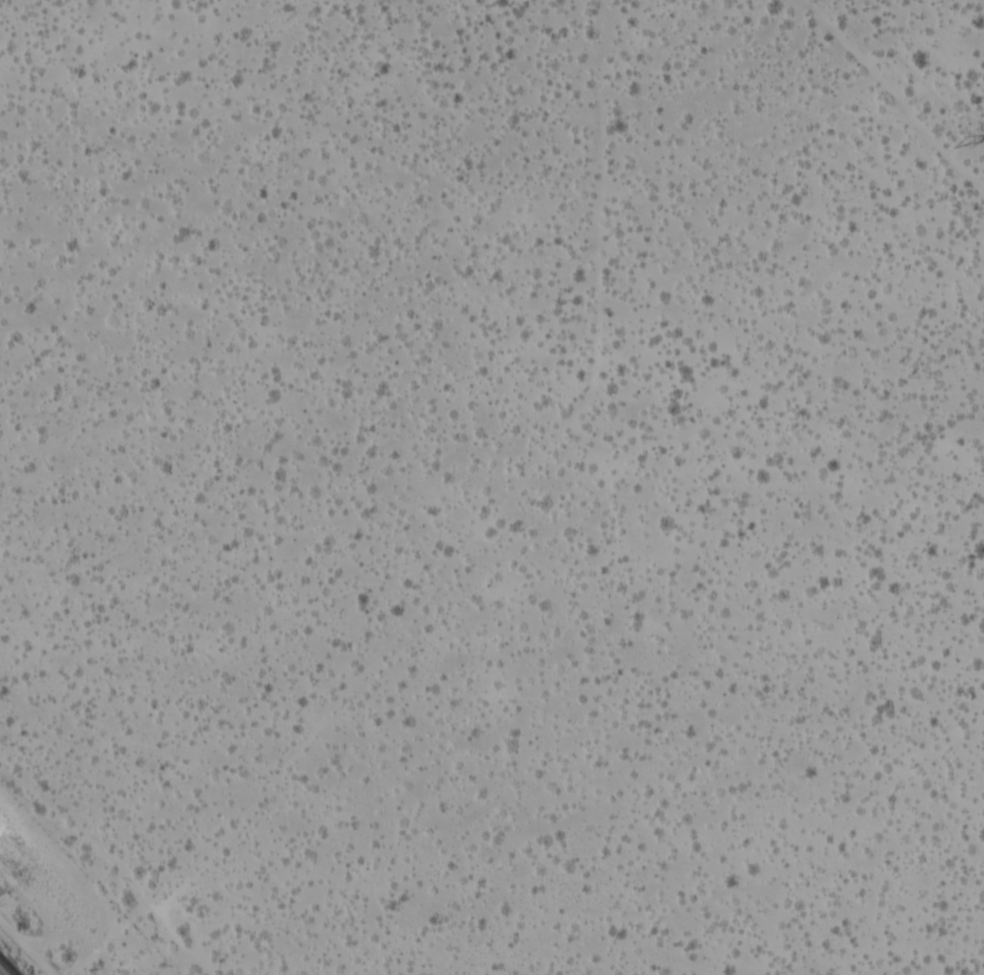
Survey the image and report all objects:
road: (894, 95)
power tower: (956, 141)
road: (497, 499)
road: (137, 902)
road: (20, 951)
railway: (5, 969)

